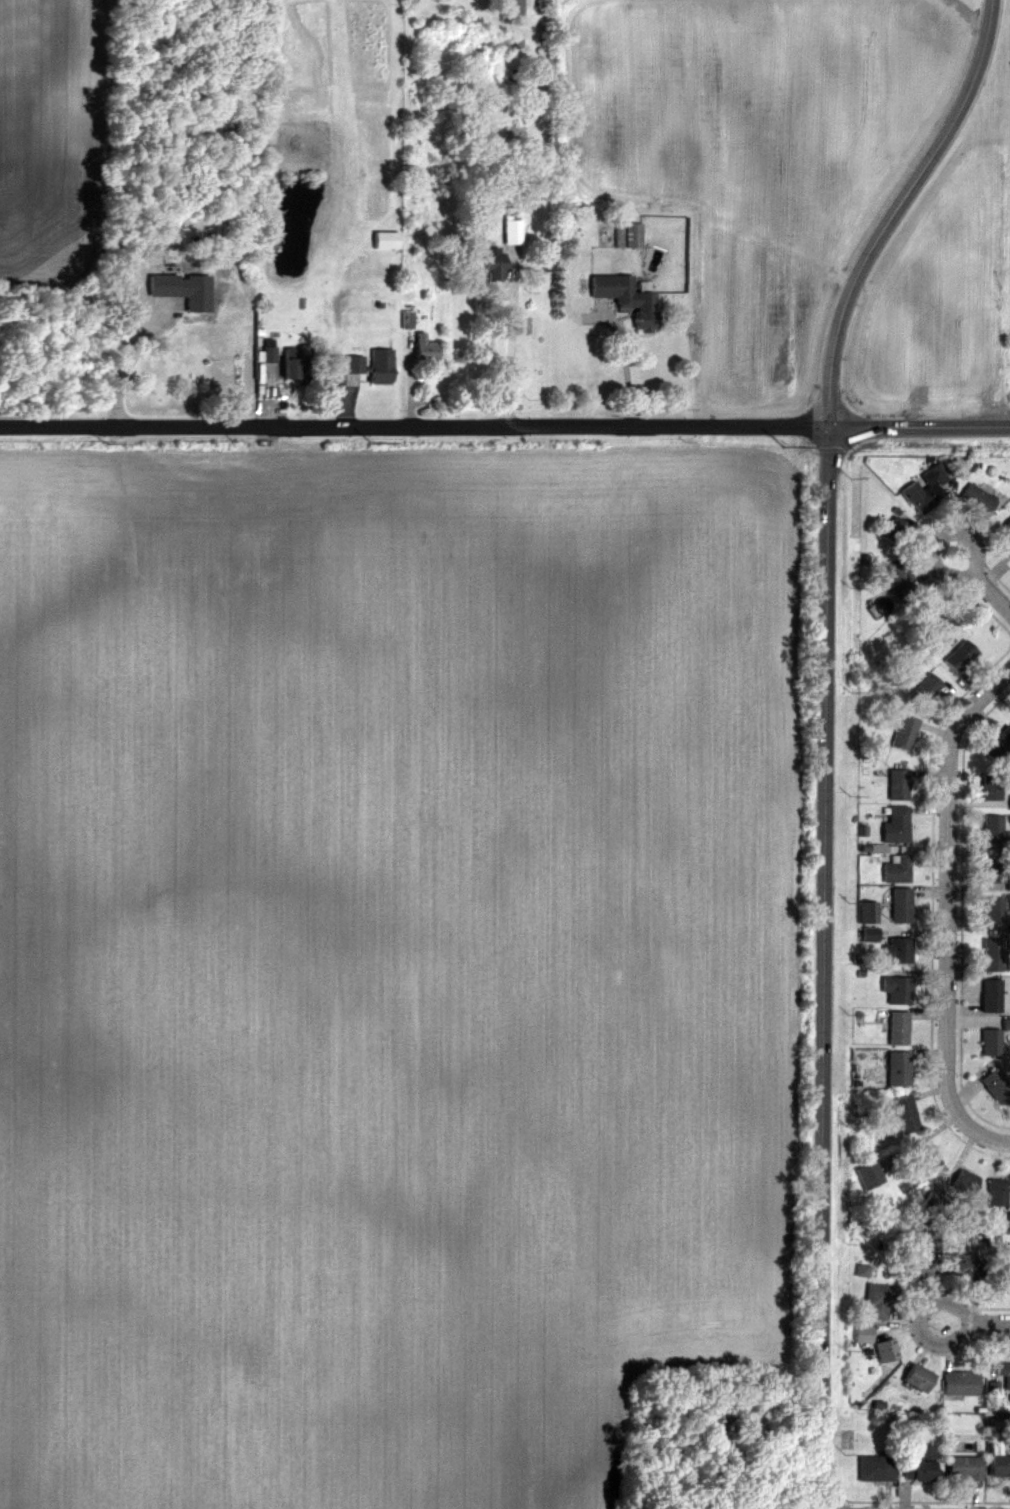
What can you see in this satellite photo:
road: (990, 17)
road: (887, 223)
building: (512, 231)
building: (384, 240)
building: (492, 264)
building: (161, 285)
building: (196, 295)
building: (626, 298)
building: (423, 348)
building: (267, 349)
road: (507, 352)
building: (297, 364)
road: (128, 365)
building: (372, 365)
road: (504, 425)
building: (926, 489)
building: (977, 500)
building: (1006, 530)
building: (894, 531)
road: (933, 554)
building: (898, 577)
road: (993, 591)
building: (932, 617)
building: (959, 656)
building: (925, 689)
building: (904, 733)
building: (999, 745)
building: (897, 784)
building: (991, 787)
building: (1009, 803)
building: (895, 825)
building: (992, 832)
building: (896, 869)
building: (992, 870)
road: (946, 894)
building: (900, 906)
building: (993, 911)
building: (867, 912)
building: (897, 950)
building: (992, 954)
road: (825, 967)
building: (897, 989)
building: (991, 995)
building: (898, 1028)
building: (1006, 1029)
building: (990, 1042)
building: (897, 1069)
building: (996, 1086)
building: (905, 1115)
road: (993, 1138)
building: (926, 1157)
building: (868, 1175)
building: (963, 1182)
building: (998, 1192)
building: (1009, 1223)
building: (963, 1264)
building: (916, 1270)
building: (1000, 1274)
building: (879, 1300)
road: (980, 1319)
building: (862, 1334)
building: (886, 1350)
building: (1003, 1373)
building: (916, 1378)
building: (959, 1383)
building: (999, 1466)
building: (919, 1467)
building: (875, 1468)
building: (963, 1468)

